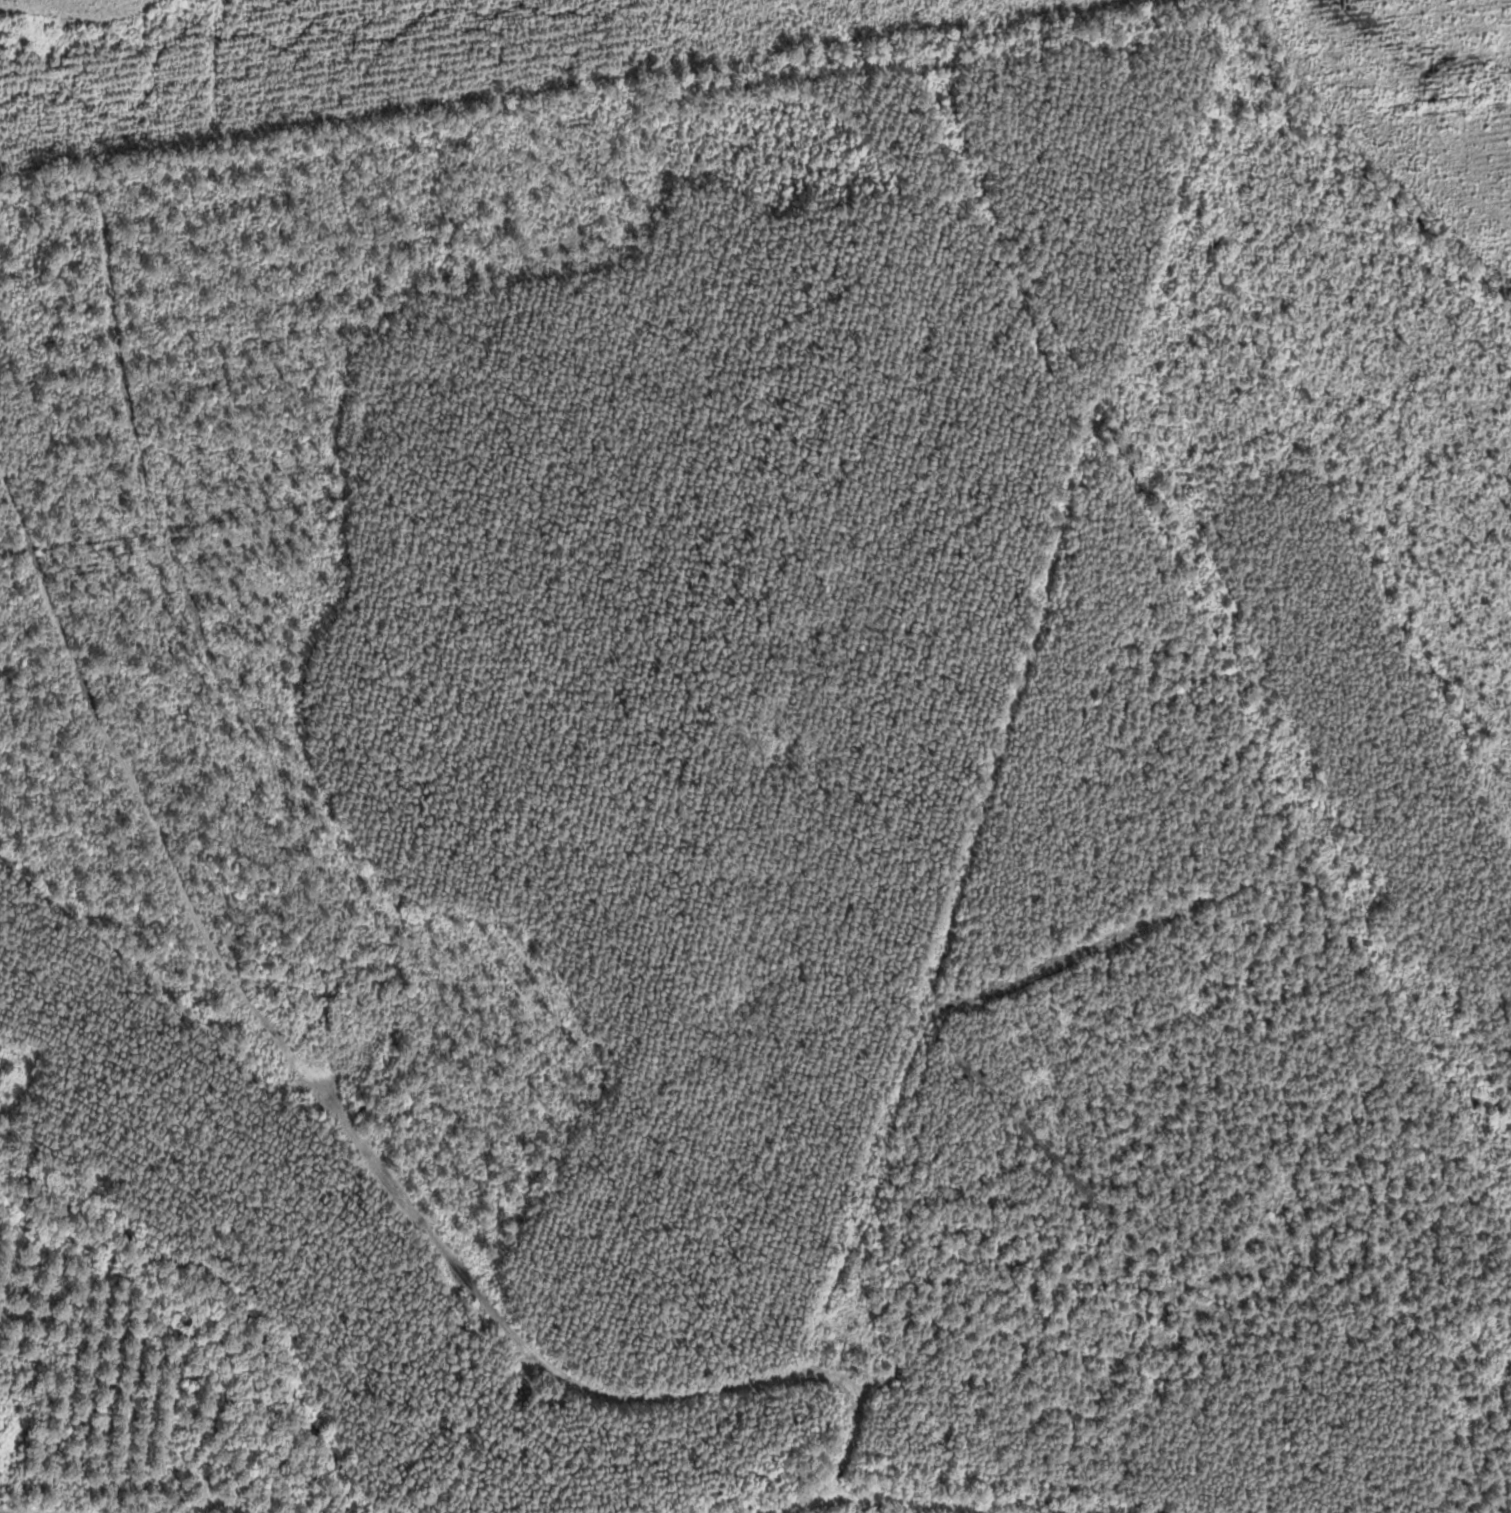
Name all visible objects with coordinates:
building: (854, 1365)
road: (904, 1496)
road: (47, 1506)

